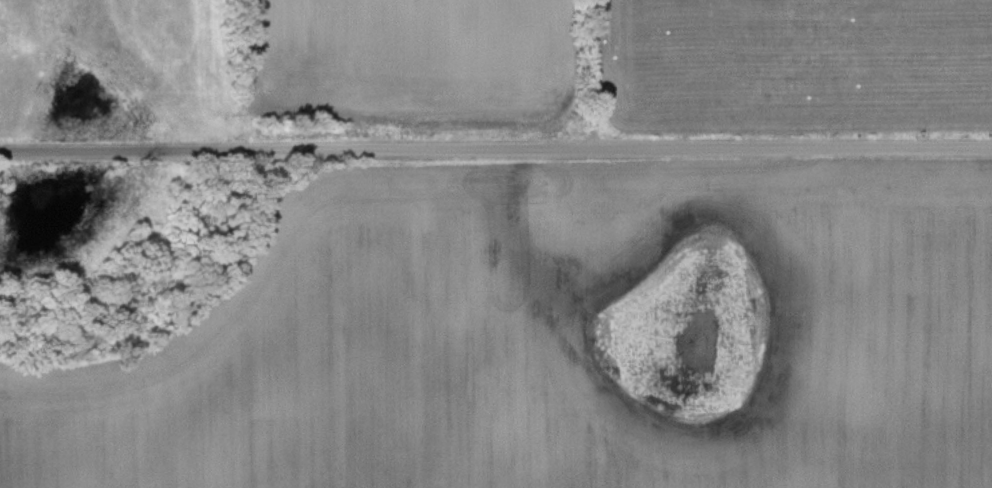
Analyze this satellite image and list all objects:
road: (610, 75)
road: (496, 150)

